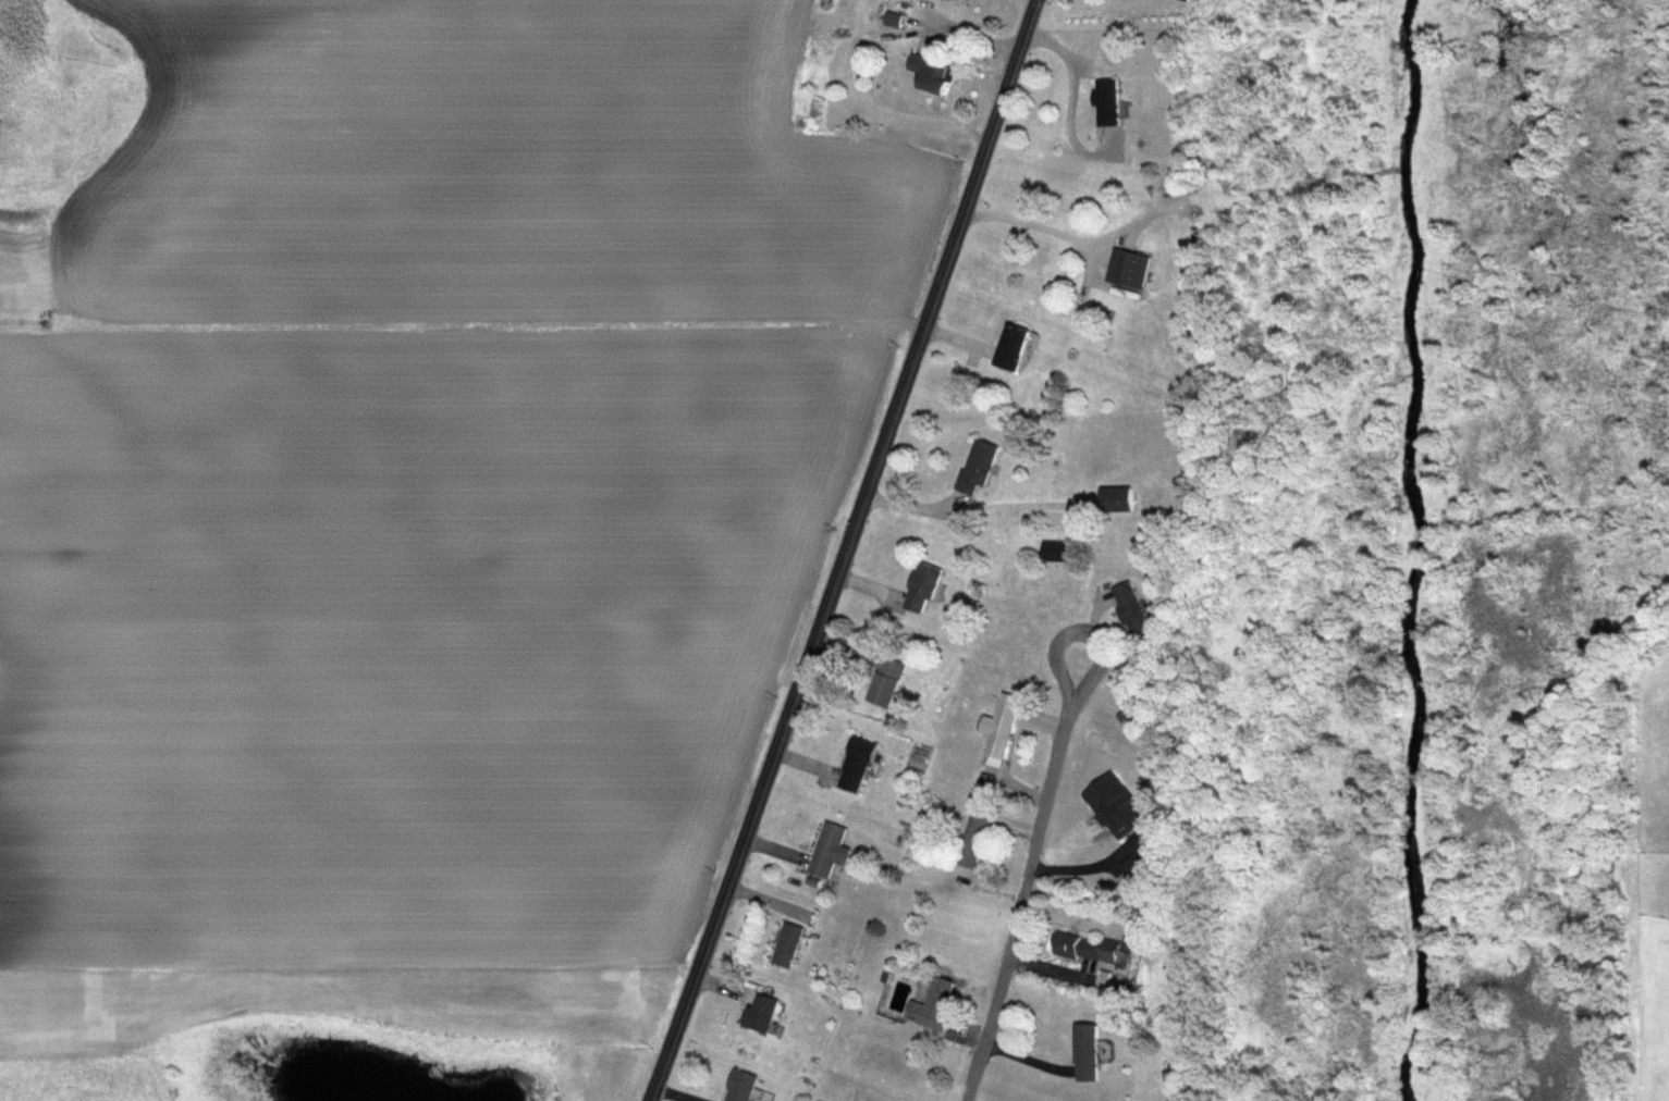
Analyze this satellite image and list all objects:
building: (894, 17)
road: (855, 49)
building: (931, 72)
building: (1105, 101)
road: (1073, 102)
road: (1036, 224)
building: (1126, 267)
building: (1010, 347)
building: (975, 465)
building: (1114, 497)
building: (1054, 548)
road: (846, 552)
building: (920, 585)
building: (1129, 609)
road: (1064, 648)
building: (884, 681)
building: (998, 727)
building: (854, 763)
building: (1112, 804)
building: (971, 838)
building: (826, 849)
building: (1133, 863)
road: (1022, 899)
building: (786, 943)
building: (1093, 949)
building: (932, 1003)
building: (760, 1012)
building: (1084, 1051)
building: (737, 1085)

